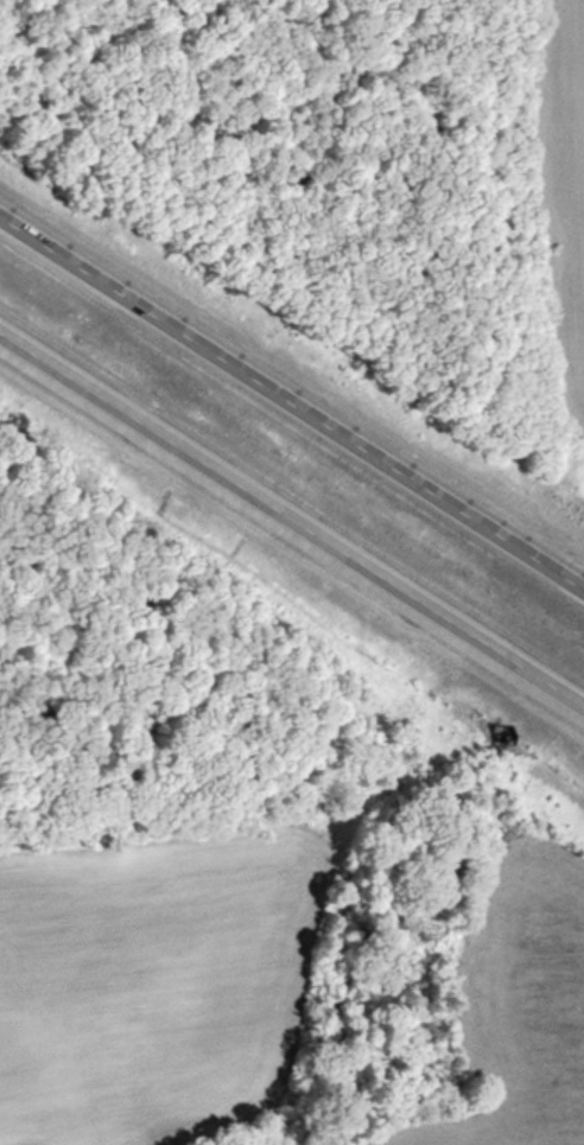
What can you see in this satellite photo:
road: (292, 408)
road: (292, 523)

